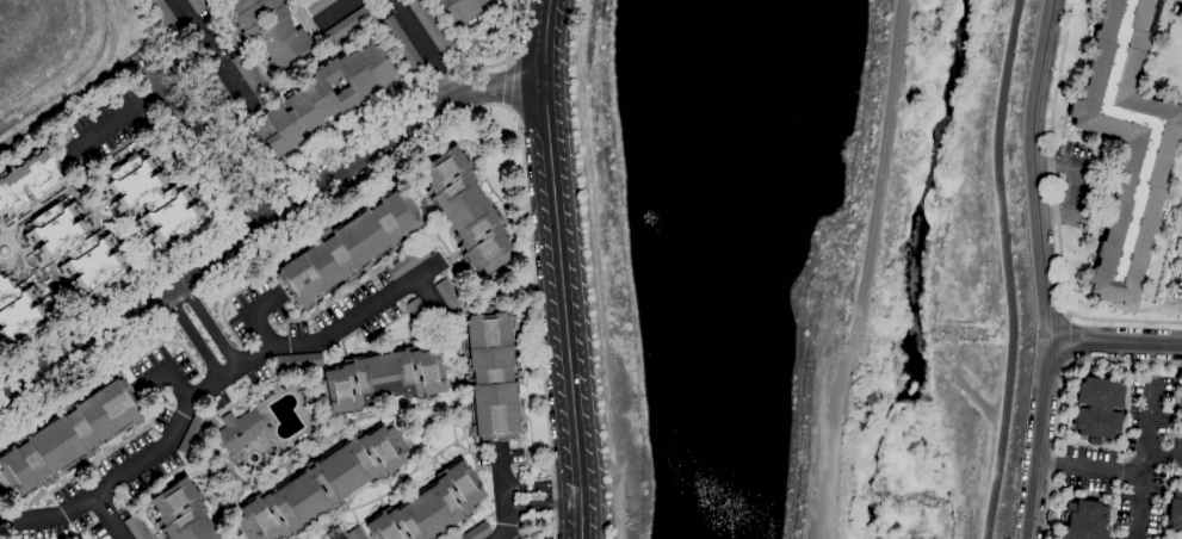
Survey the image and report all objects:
building: (1161, 0)
building: (1177, 1)
road: (293, 4)
building: (196, 5)
building: (317, 5)
building: (1181, 5)
building: (460, 10)
road: (330, 12)
building: (379, 14)
building: (166, 18)
building: (348, 24)
building: (429, 26)
building: (268, 30)
road: (460, 35)
road: (326, 45)
building: (402, 45)
road: (420, 47)
road: (391, 49)
road: (210, 54)
road: (456, 54)
road: (506, 61)
road: (184, 64)
building: (248, 78)
road: (506, 85)
building: (215, 86)
road: (82, 87)
building: (322, 98)
road: (118, 114)
road: (431, 130)
road: (203, 142)
building: (1126, 144)
road: (328, 151)
road: (458, 171)
building: (26, 181)
road: (1072, 182)
building: (153, 200)
building: (465, 211)
road: (1057, 212)
road: (261, 223)
building: (75, 247)
road: (192, 249)
building: (345, 250)
building: (404, 262)
road: (558, 268)
road: (598, 268)
road: (1011, 268)
road: (1042, 268)
road: (862, 271)
river: (918, 272)
road: (427, 295)
building: (446, 295)
road: (327, 303)
building: (416, 311)
building: (18, 312)
road: (253, 315)
road: (221, 320)
road: (280, 323)
road: (208, 324)
road: (191, 335)
road: (1070, 340)
road: (1115, 347)
road: (181, 348)
building: (296, 361)
road: (167, 371)
building: (490, 377)
building: (383, 379)
road: (211, 384)
road: (1059, 394)
building: (1097, 408)
building: (1181, 410)
building: (239, 430)
building: (192, 433)
building: (70, 435)
road: (70, 435)
road: (1163, 454)
road: (1143, 461)
road: (1089, 469)
building: (222, 472)
road: (542, 484)
building: (322, 485)
road: (503, 495)
road: (543, 504)
building: (431, 507)
building: (1175, 512)
building: (181, 513)
road: (111, 516)
building: (1084, 521)
building: (136, 528)
building: (476, 532)
building: (355, 533)

